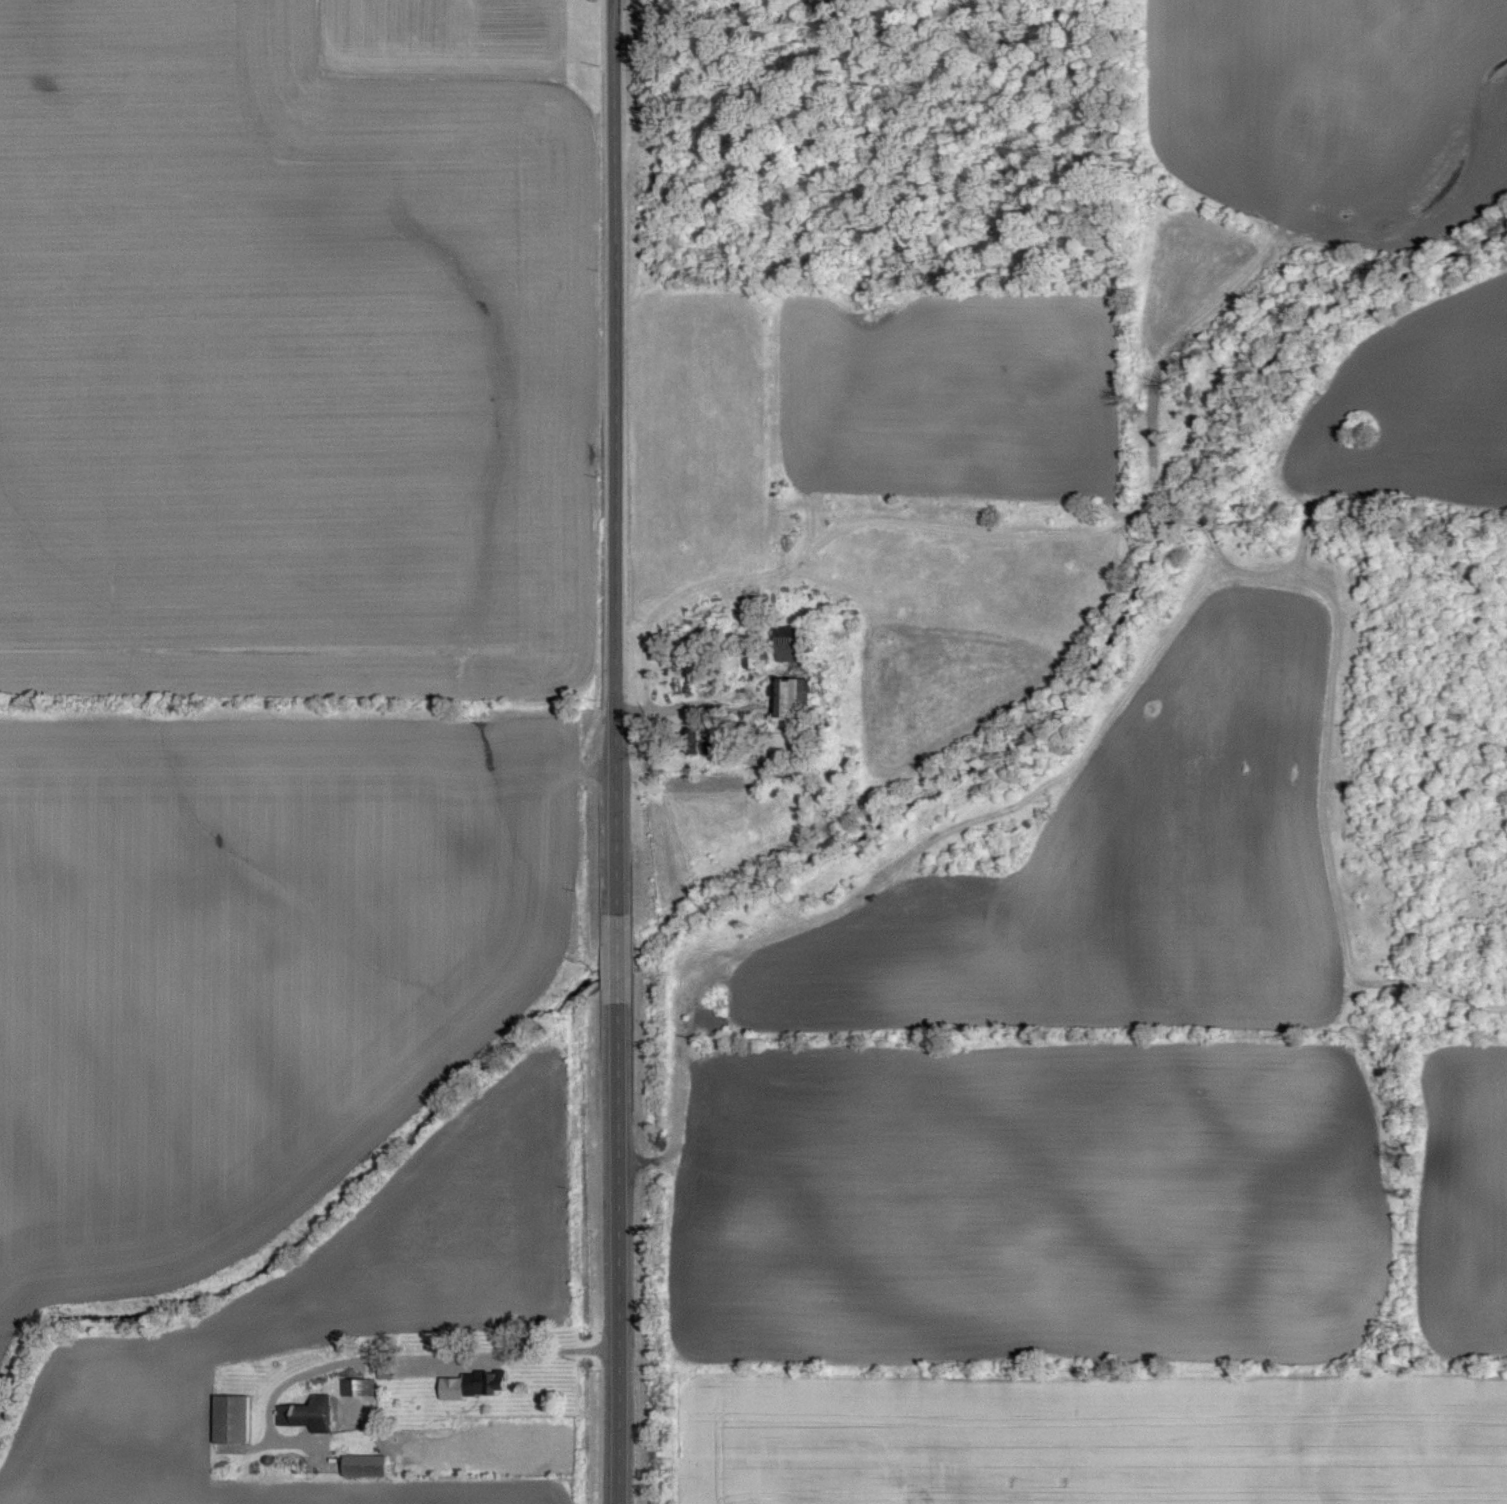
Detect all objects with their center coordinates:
building: (801, 644)
building: (754, 661)
building: (799, 697)
road: (614, 751)
road: (486, 1358)
building: (492, 1381)
building: (361, 1386)
building: (320, 1412)
building: (237, 1418)
building: (381, 1463)

